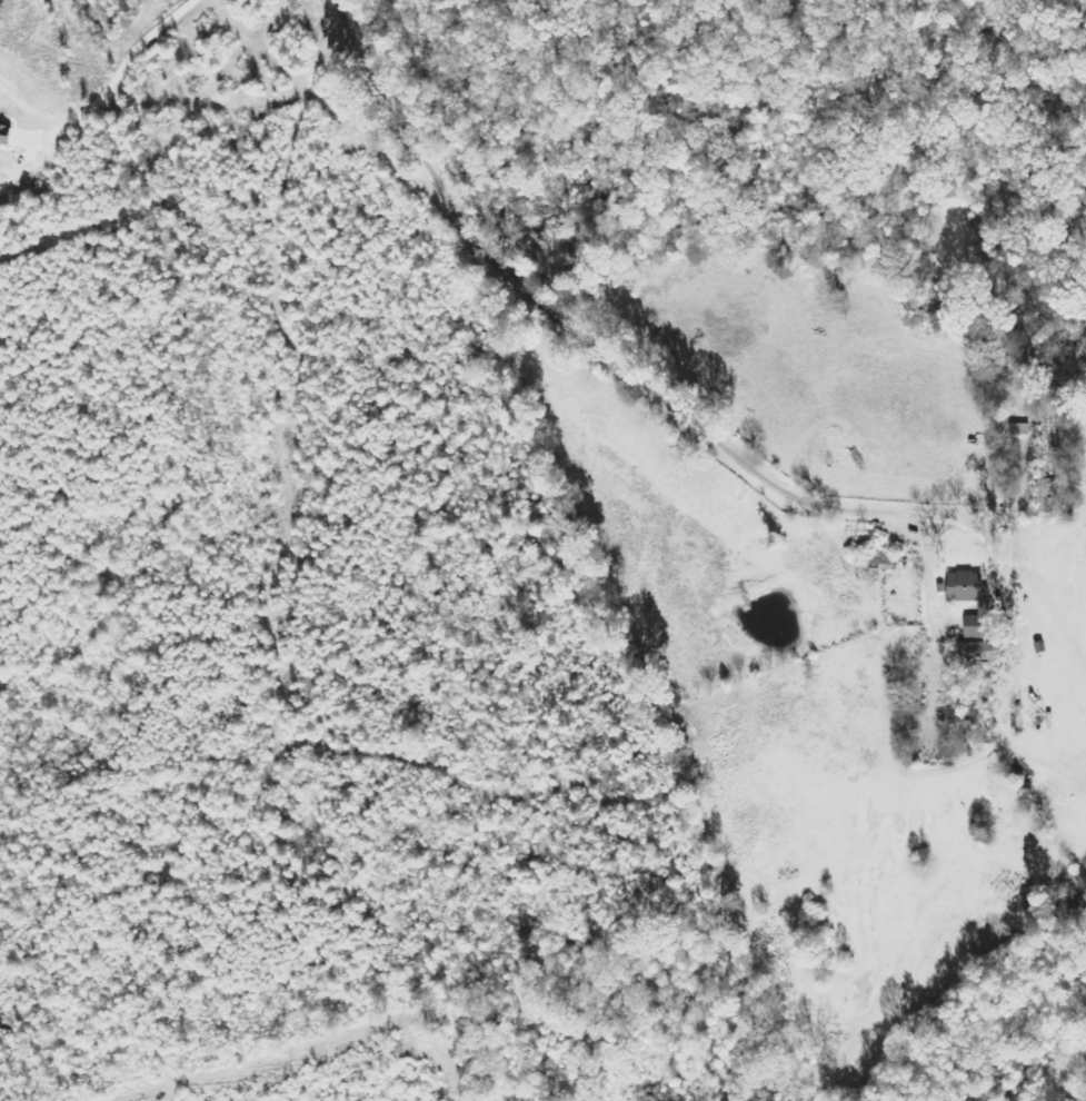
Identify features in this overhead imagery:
road: (124, 60)
road: (28, 108)
building: (6, 135)
road: (30, 153)
road: (582, 336)
road: (986, 537)
building: (979, 628)

